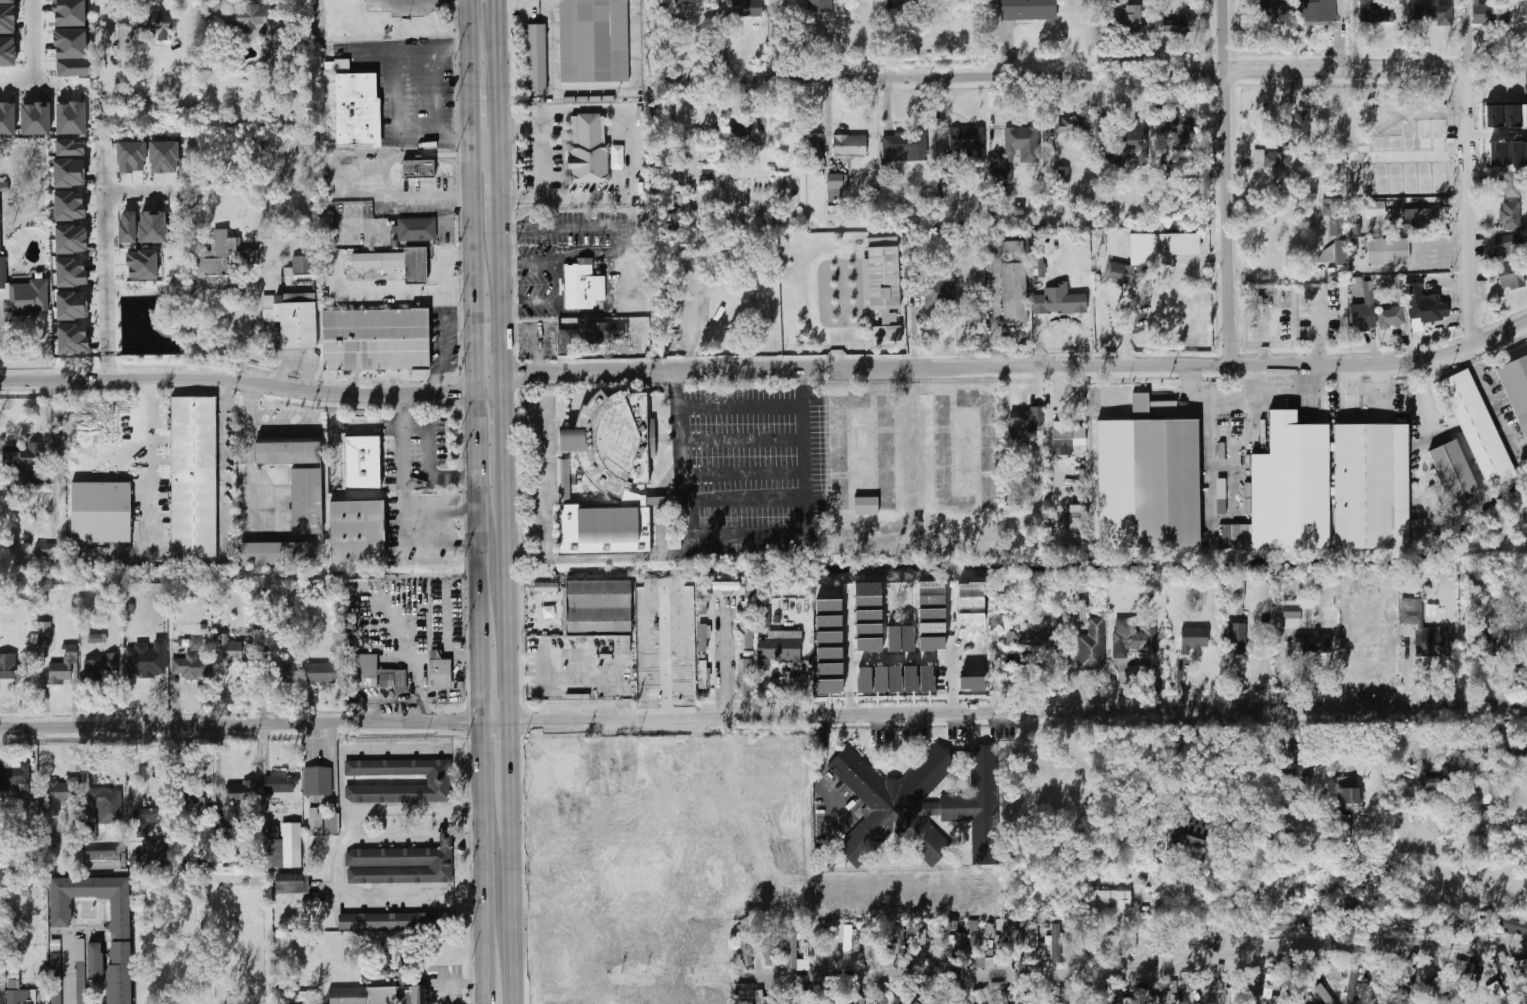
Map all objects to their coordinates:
building: (6, 1)
building: (685, 1)
road: (412, 2)
road: (496, 2)
building: (1112, 2)
road: (215, 3)
building: (820, 6)
building: (747, 7)
building: (1029, 9)
building: (1376, 10)
building: (1319, 11)
building: (64, 12)
building: (1434, 14)
building: (1490, 14)
road: (101, 17)
building: (247, 17)
building: (6, 19)
building: (1133, 19)
building: (154, 22)
building: (1179, 24)
building: (126, 33)
road: (34, 34)
road: (470, 40)
building: (593, 40)
building: (66, 43)
building: (7, 52)
building: (537, 56)
building: (73, 68)
road: (1085, 73)
building: (1526, 83)
road: (497, 86)
road: (591, 92)
building: (356, 109)
road: (472, 110)
road: (621, 110)
road: (396, 116)
building: (1503, 116)
building: (71, 117)
building: (7, 118)
building: (35, 119)
building: (1071, 125)
building: (1180, 125)
building: (736, 126)
building: (1297, 126)
road: (518, 129)
road: (1498, 135)
building: (1415, 136)
building: (968, 144)
building: (850, 145)
building: (255, 147)
building: (69, 148)
building: (1130, 148)
building: (587, 149)
building: (1016, 149)
building: (905, 151)
building: (1508, 153)
building: (131, 156)
building: (163, 156)
road: (539, 156)
building: (817, 156)
building: (1399, 156)
building: (1272, 159)
building: (1166, 163)
building: (416, 169)
building: (69, 172)
building: (1062, 174)
road: (336, 176)
building: (679, 176)
road: (1230, 181)
building: (1510, 182)
building: (836, 186)
road: (499, 194)
building: (951, 197)
road: (520, 198)
road: (584, 198)
building: (677, 200)
building: (69, 206)
building: (1376, 209)
road: (1471, 210)
building: (676, 213)
building: (1511, 213)
road: (473, 215)
building: (1414, 220)
building: (0, 221)
building: (1338, 223)
building: (328, 226)
building: (128, 227)
building: (153, 227)
building: (415, 228)
building: (82, 233)
building: (882, 241)
building: (1165, 244)
building: (1387, 251)
building: (1341, 253)
building: (224, 254)
road: (1423, 260)
building: (1507, 262)
building: (393, 263)
building: (142, 264)
building: (303, 264)
building: (1039, 265)
road: (108, 267)
building: (71, 272)
building: (885, 278)
building: (1122, 278)
building: (160, 284)
building: (82, 287)
building: (1014, 287)
building: (583, 288)
building: (931, 292)
building: (24, 294)
building: (1338, 295)
road: (502, 297)
building: (1058, 299)
building: (72, 305)
building: (1424, 305)
building: (291, 317)
building: (1363, 317)
building: (1391, 318)
road: (0, 321)
building: (1323, 323)
building: (604, 332)
building: (886, 333)
road: (248, 334)
building: (567, 338)
building: (73, 339)
building: (374, 339)
road: (473, 341)
road: (1019, 366)
road: (237, 380)
road: (489, 382)
road: (1193, 387)
road: (1281, 387)
building: (1516, 389)
building: (1025, 421)
road: (506, 426)
building: (1479, 429)
building: (1067, 437)
road: (144, 441)
building: (286, 452)
building: (25, 462)
building: (361, 462)
building: (1454, 472)
building: (612, 475)
building: (194, 476)
road: (440, 478)
building: (1165, 479)
road: (546, 480)
building: (565, 481)
building: (1291, 486)
building: (1372, 486)
building: (1247, 497)
building: (305, 500)
road: (404, 504)
building: (866, 505)
building: (1222, 507)
road: (441, 511)
building: (101, 512)
building: (1078, 517)
road: (478, 518)
building: (356, 531)
road: (792, 532)
building: (674, 542)
building: (46, 549)
building: (276, 553)
building: (726, 586)
building: (546, 587)
building: (971, 589)
building: (1237, 589)
building: (931, 593)
building: (868, 594)
building: (667, 596)
building: (749, 597)
building: (687, 598)
road: (508, 599)
building: (703, 599)
building: (971, 603)
building: (598, 606)
building: (828, 606)
building: (764, 613)
building: (932, 614)
building: (868, 615)
building: (1292, 616)
building: (971, 619)
building: (829, 621)
building: (932, 628)
building: (869, 629)
building: (1427, 630)
building: (645, 633)
building: (44, 634)
building: (748, 634)
building: (971, 635)
building: (1133, 636)
building: (703, 637)
building: (829, 637)
building: (97, 638)
building: (1240, 638)
road: (414, 639)
building: (901, 639)
building: (1194, 639)
building: (1035, 640)
building: (931, 643)
building: (1315, 643)
building: (1493, 643)
building: (625, 644)
building: (869, 644)
building: (781, 646)
building: (1093, 646)
building: (1368, 646)
building: (230, 649)
building: (248, 649)
road: (952, 650)
building: (972, 651)
road: (849, 652)
building: (150, 653)
road: (666, 653)
building: (829, 654)
road: (901, 659)
road: (723, 660)
building: (186, 663)
building: (763, 664)
building: (972, 667)
building: (65, 668)
building: (100, 668)
building: (7, 670)
building: (370, 670)
building: (829, 670)
building: (688, 671)
building: (278, 672)
building: (324, 673)
building: (439, 673)
building: (702, 673)
building: (649, 676)
building: (745, 677)
building: (910, 678)
building: (926, 678)
building: (880, 679)
building: (894, 679)
building: (864, 680)
road: (1255, 680)
road: (482, 684)
building: (972, 684)
building: (830, 686)
road: (763, 716)
road: (362, 748)
building: (1514, 748)
road: (511, 758)
building: (1296, 763)
building: (567, 771)
road: (220, 772)
road: (43, 773)
building: (15, 778)
building: (438, 780)
building: (600, 780)
building: (281, 782)
building: (1433, 785)
building: (1488, 789)
building: (241, 792)
building: (63, 797)
building: (190, 797)
building: (1348, 797)
building: (319, 801)
building: (108, 803)
building: (894, 803)
building: (978, 805)
road: (396, 807)
road: (444, 819)
building: (147, 820)
building: (1342, 829)
building: (89, 832)
building: (50, 836)
road: (444, 836)
building: (1191, 837)
road: (395, 838)
road: (468, 838)
road: (445, 839)
building: (282, 847)
building: (151, 853)
road: (485, 854)
building: (634, 858)
building: (105, 860)
building: (740, 862)
building: (401, 864)
building: (290, 885)
building: (1, 892)
building: (1108, 898)
road: (514, 899)
road: (354, 900)
building: (585, 903)
building: (61, 913)
building: (395, 921)
building: (1403, 922)
building: (1279, 923)
building: (1510, 924)
building: (564, 925)
building: (1365, 925)
building: (987, 930)
building: (644, 931)
building: (1105, 937)
building: (537, 940)
building: (1011, 940)
building: (1076, 940)
building: (847, 942)
building: (769, 943)
building: (1030, 943)
building: (1052, 943)
building: (745, 945)
building: (823, 945)
building: (921, 947)
building: (949, 948)
building: (794, 949)
building: (872, 954)
building: (385, 959)
building: (95, 961)
building: (979, 961)
building: (1504, 965)
building: (1, 966)
building: (1406, 967)
building: (1520, 967)
road: (67, 969)
building: (80, 971)
building: (1332, 971)
road: (1140, 972)
building: (119, 973)
building: (56, 981)
building: (1270, 985)
building: (1351, 988)
building: (1438, 988)
building: (744, 990)
building: (1223, 991)
building: (881, 994)
building: (1323, 994)
building: (1379, 994)
building: (2, 995)
building: (379, 995)
road: (488, 995)
building: (625, 995)
building: (1056, 995)
building: (982, 996)
building: (1145, 996)
building: (21, 997)
building: (761, 997)
building: (807, 997)
building: (1002, 997)
building: (1082, 997)
building: (786, 1000)
building: (855, 1000)
building: (1123, 1000)
building: (401, 1003)

